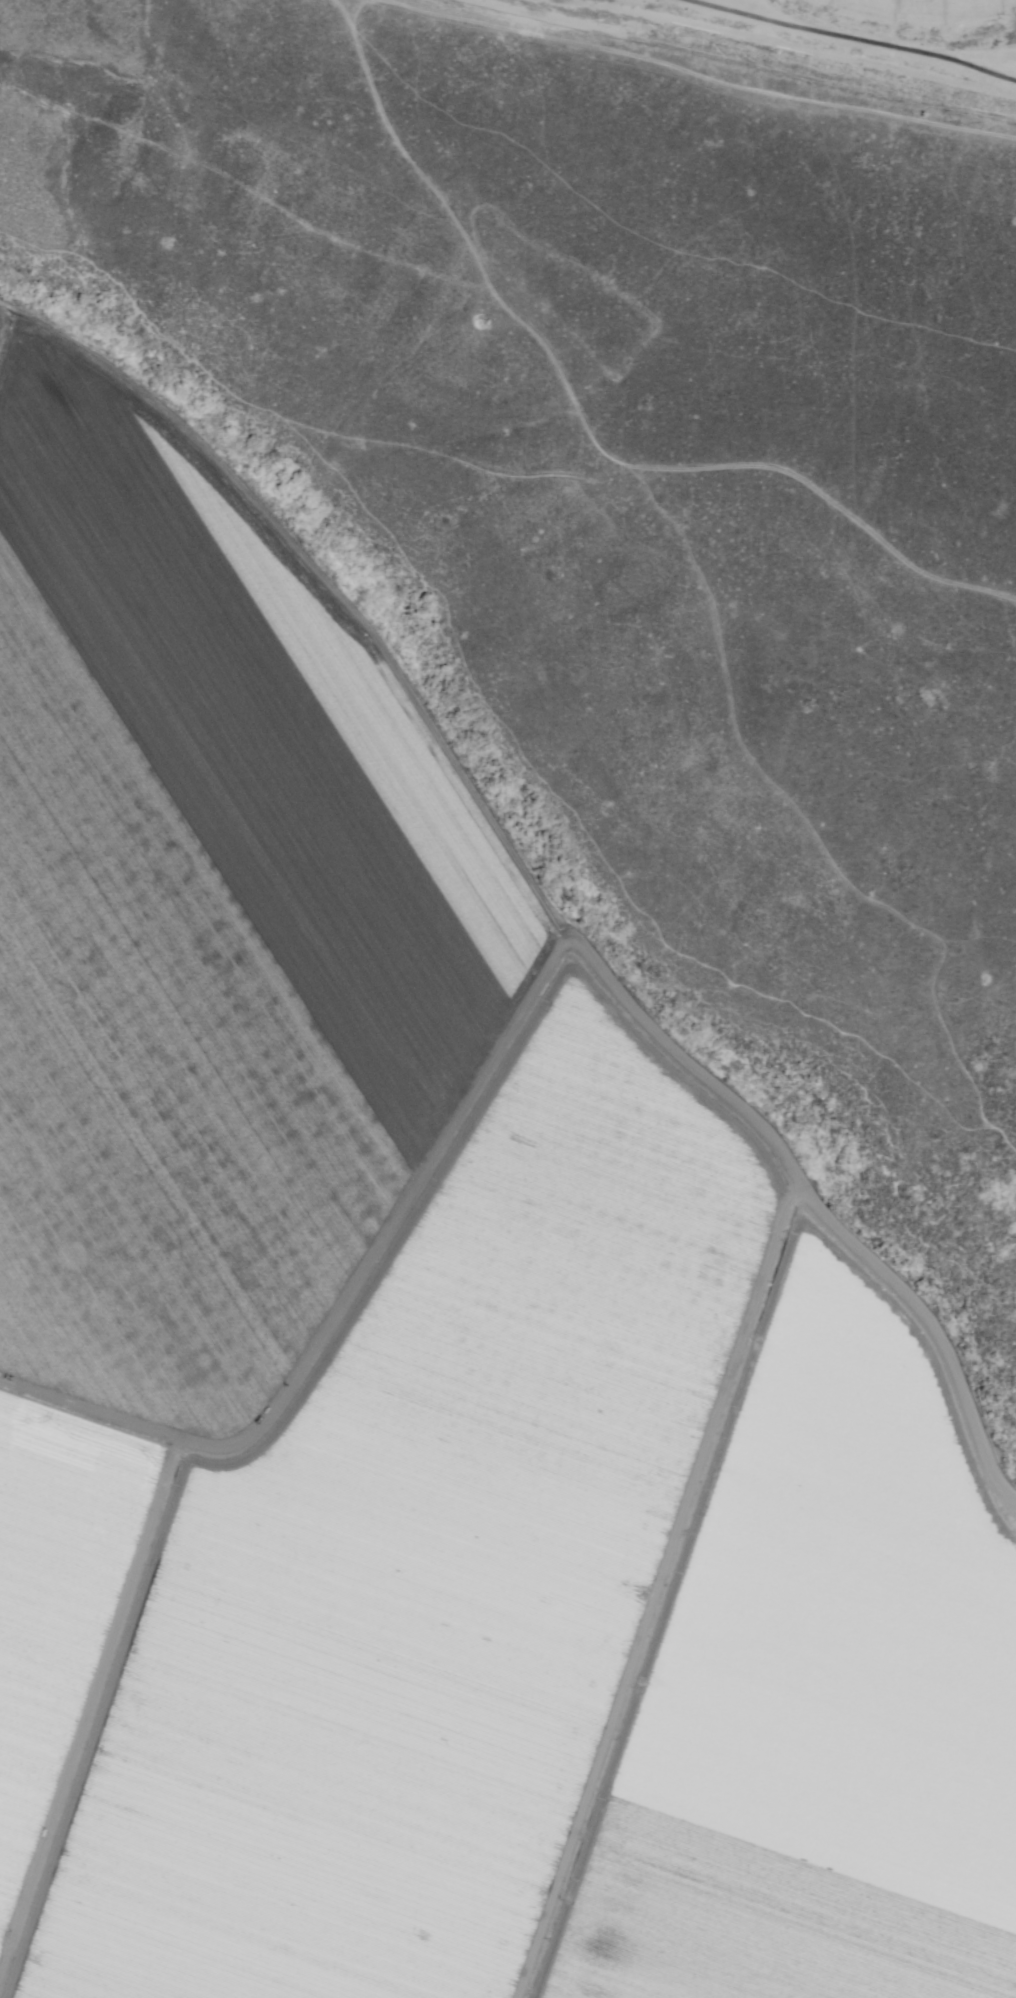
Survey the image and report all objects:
crop: (0, 308)
crop: (210, 916)
crop: (423, 1560)
crop: (58, 1597)
crop: (821, 1696)

